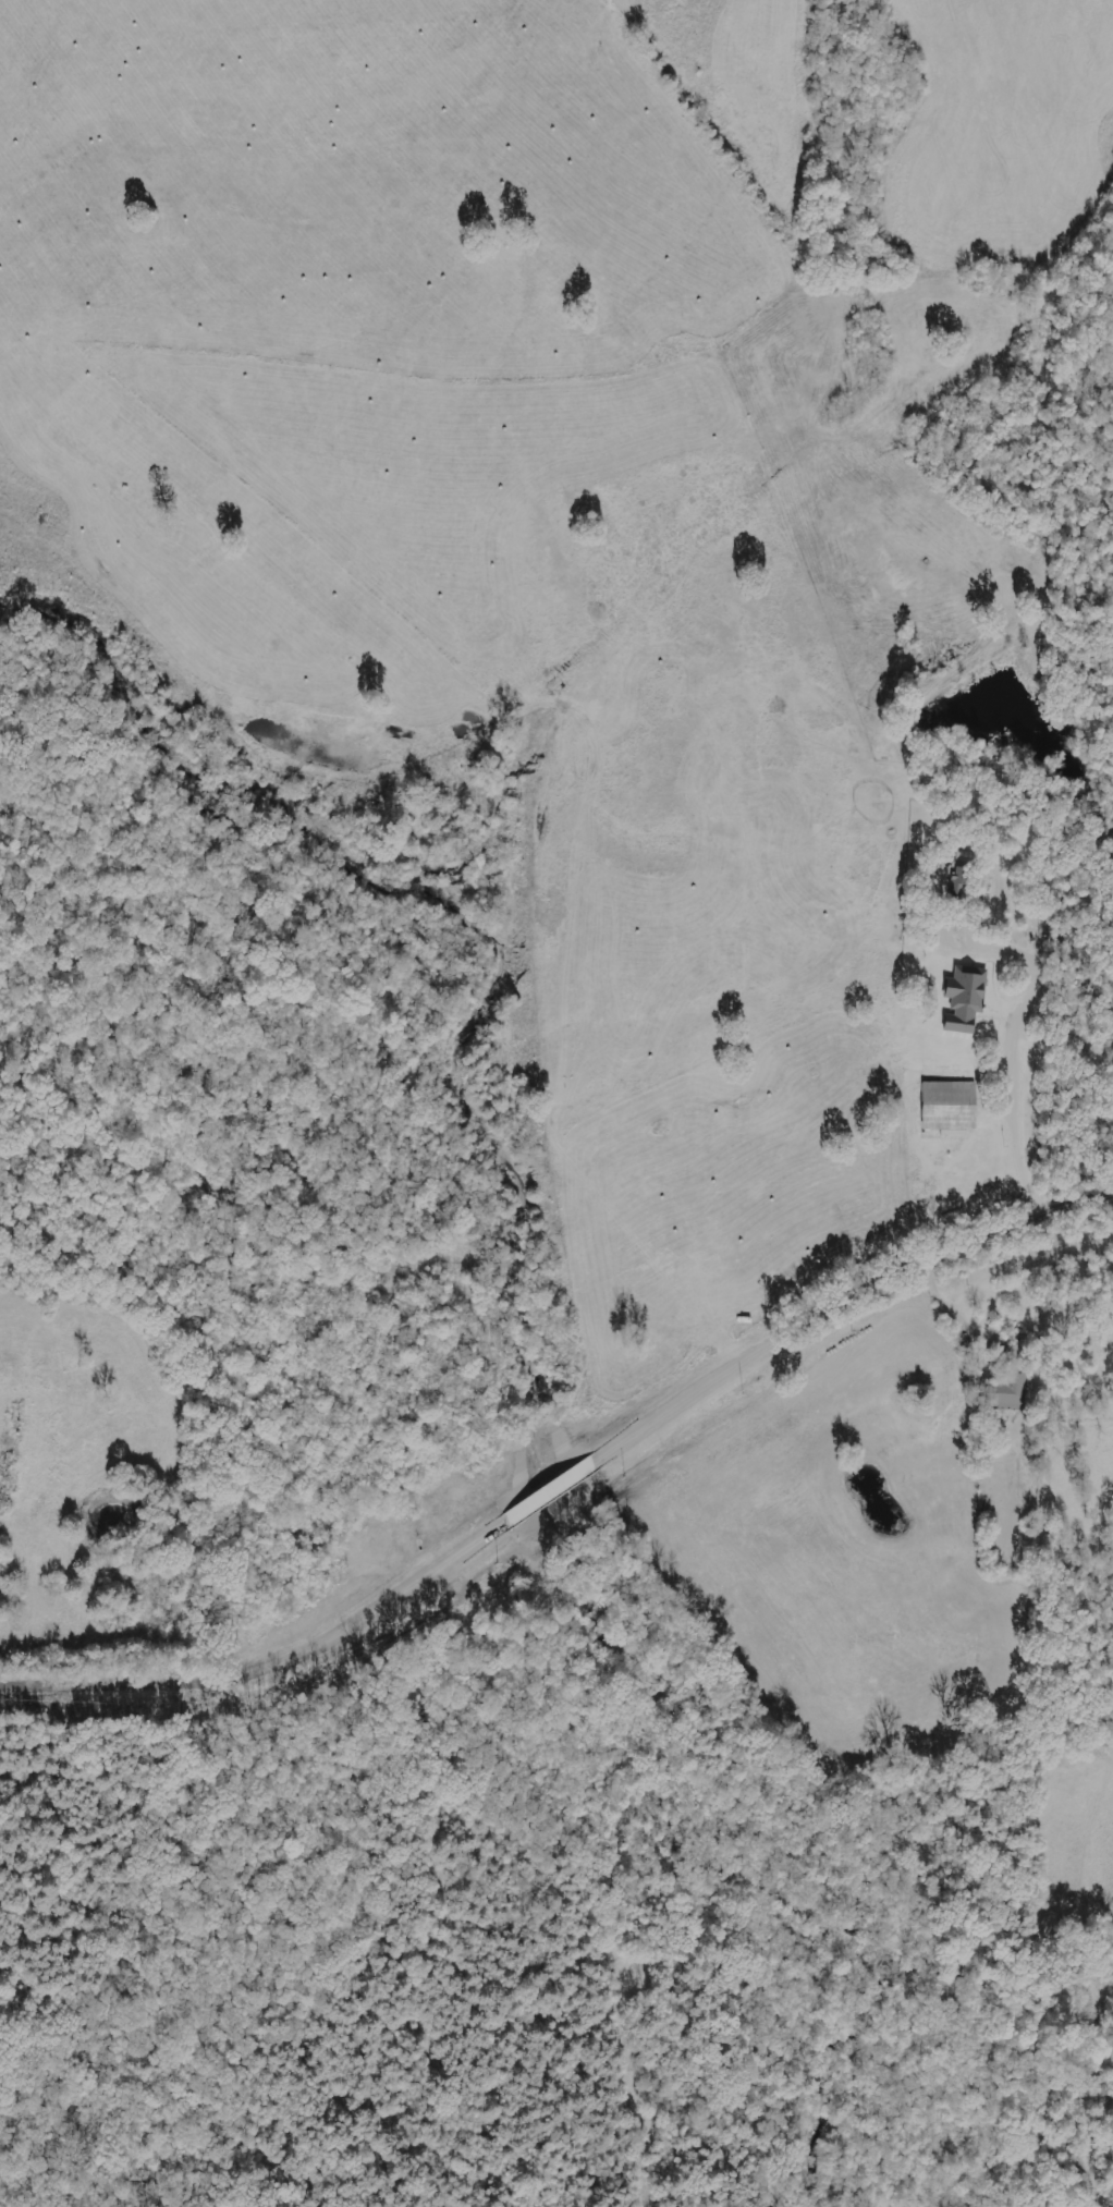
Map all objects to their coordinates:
building: (962, 1000)
building: (946, 1108)
building: (1013, 1391)
road: (578, 1486)

